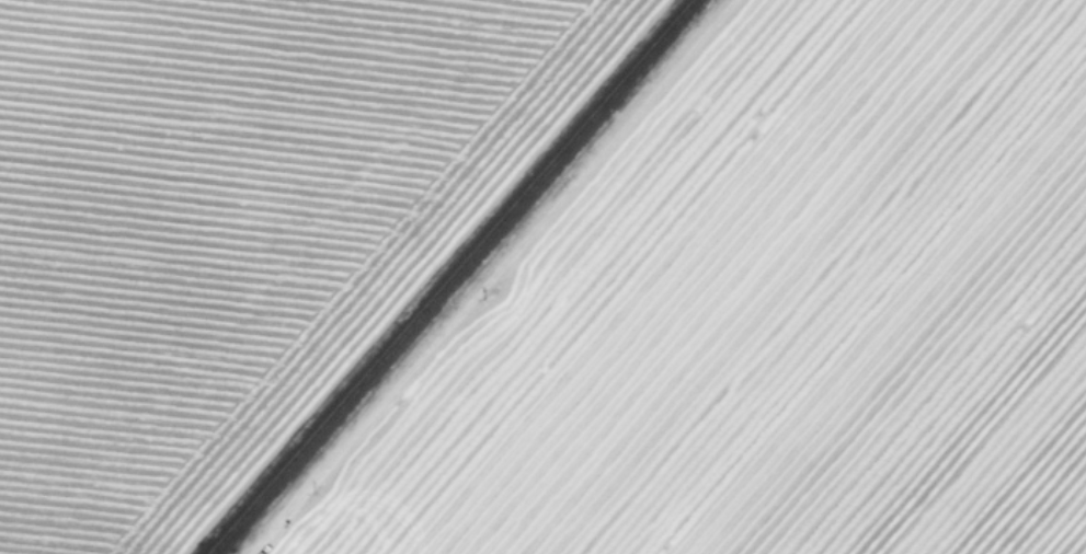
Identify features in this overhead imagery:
railway: (450, 277)
crop: (542, 277)

